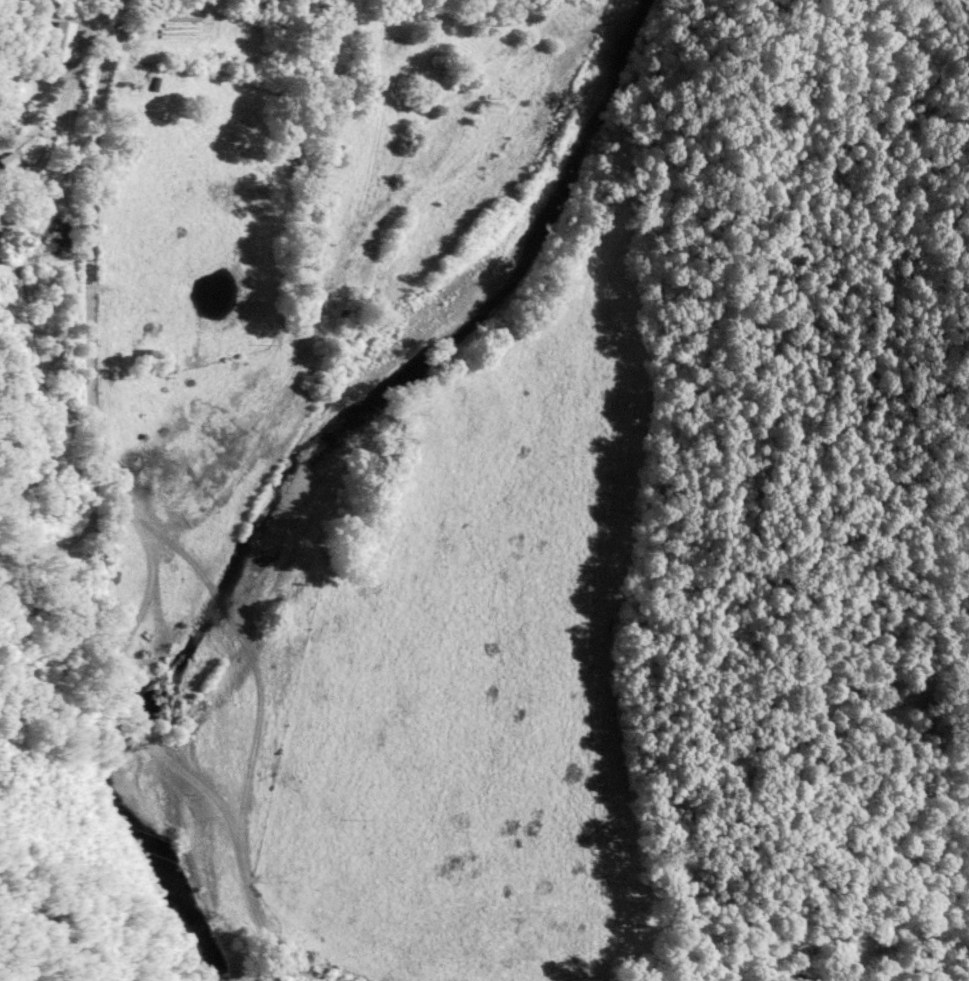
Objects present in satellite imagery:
road: (113, 23)
building: (66, 42)
road: (64, 130)
road: (151, 540)
road: (72, 545)

